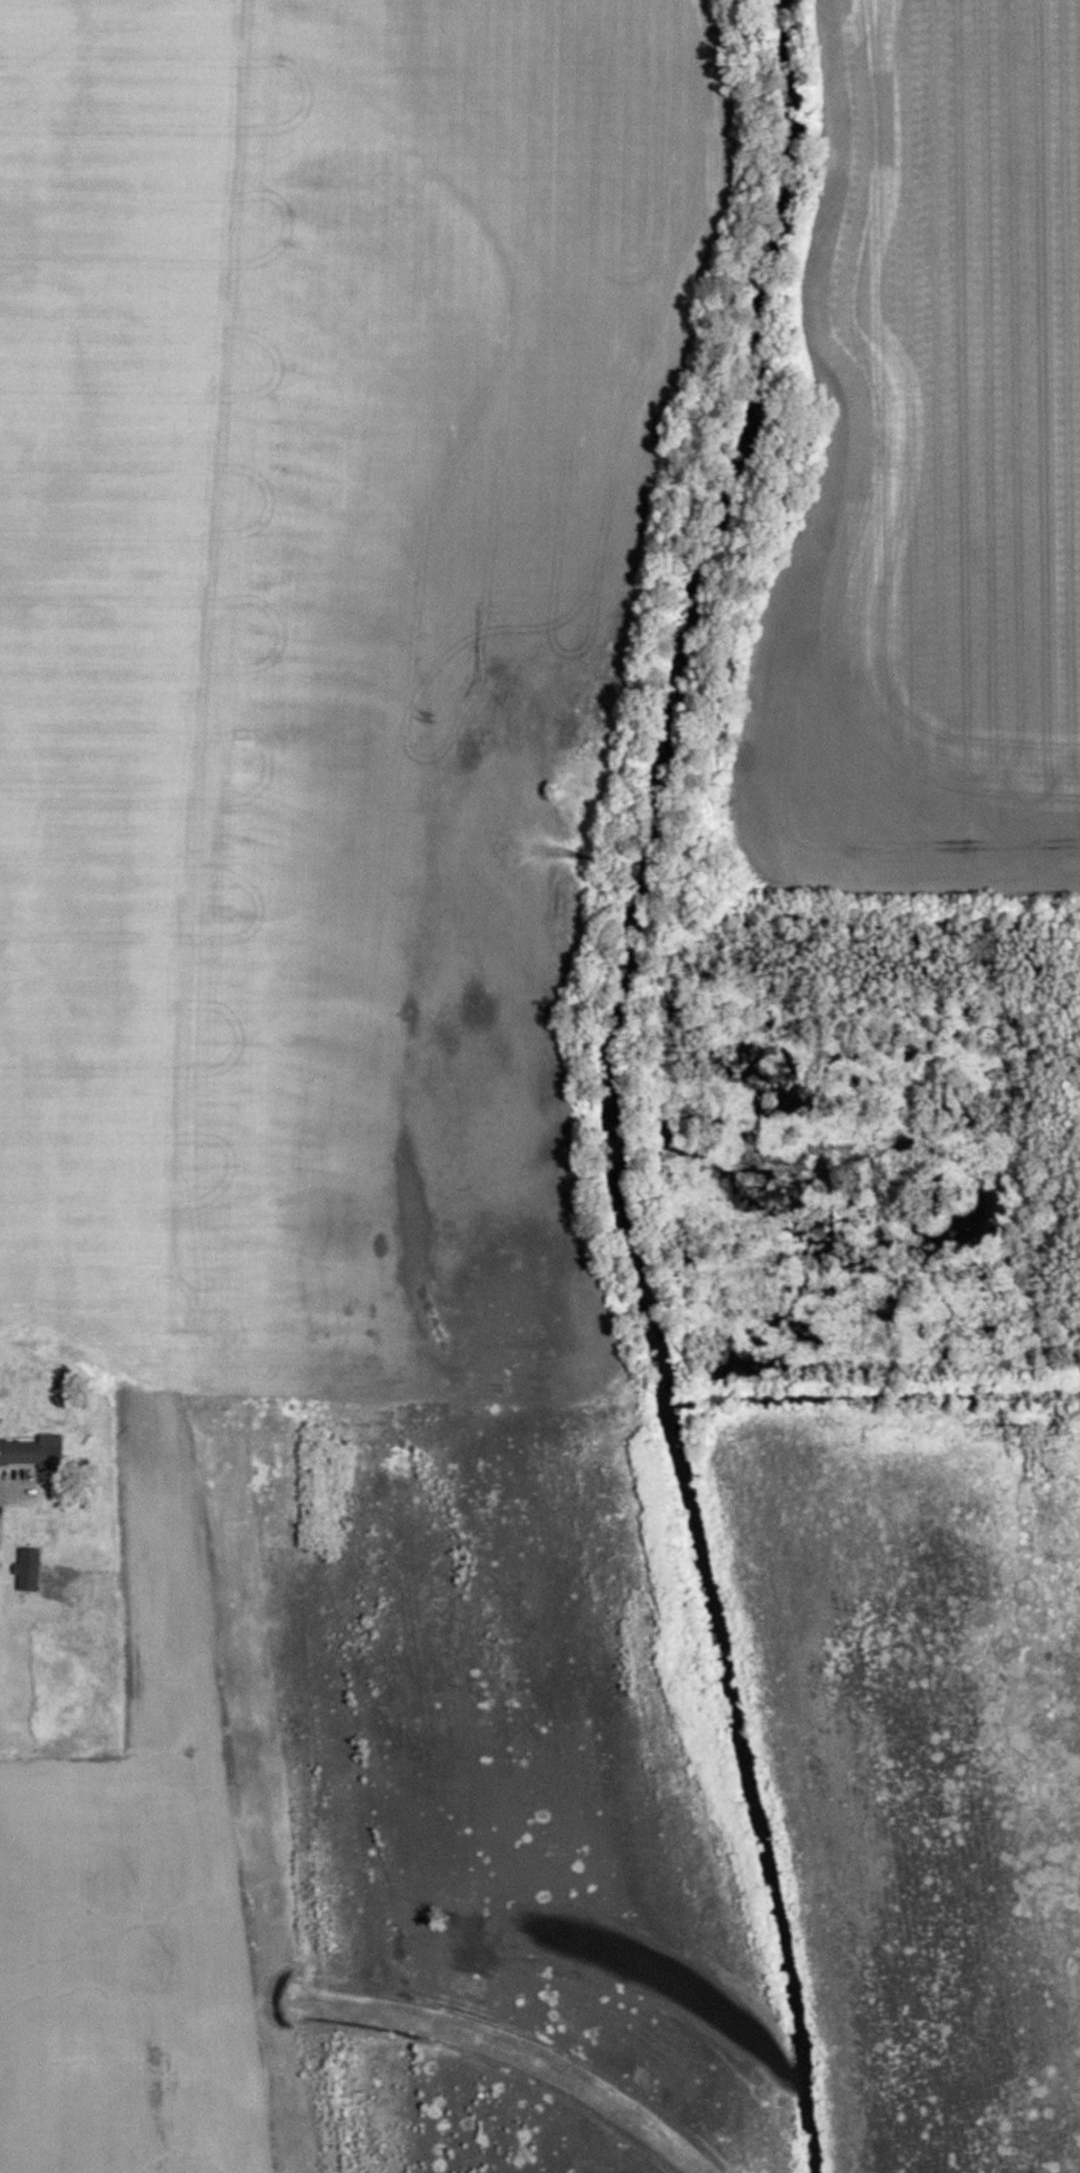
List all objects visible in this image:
building: (34, 1453)

